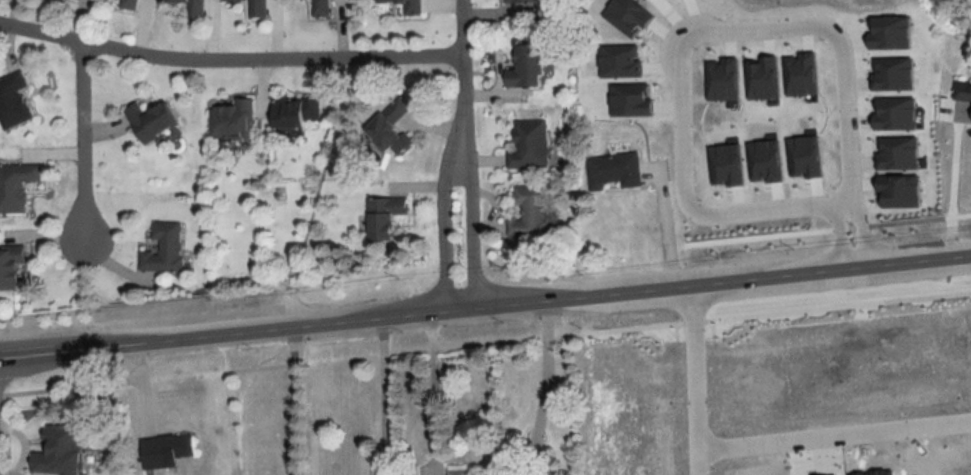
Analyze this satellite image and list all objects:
building: (518, 2)
building: (132, 4)
building: (410, 6)
building: (195, 8)
building: (259, 8)
building: (322, 8)
road: (677, 42)
road: (229, 58)
building: (523, 68)
road: (463, 79)
building: (586, 91)
building: (962, 94)
building: (15, 101)
building: (298, 112)
building: (233, 120)
building: (154, 121)
building: (394, 129)
road: (81, 138)
building: (526, 145)
building: (612, 172)
road: (936, 178)
building: (17, 186)
building: (522, 212)
building: (387, 216)
road: (470, 231)
road: (442, 232)
road: (860, 232)
road: (845, 233)
building: (166, 248)
building: (12, 269)
road: (485, 305)
road: (697, 379)
road: (434, 386)
road: (545, 388)
road: (384, 395)
road: (294, 400)
road: (835, 435)
building: (171, 448)
building: (62, 451)
building: (861, 452)
building: (456, 470)
building: (934, 474)

